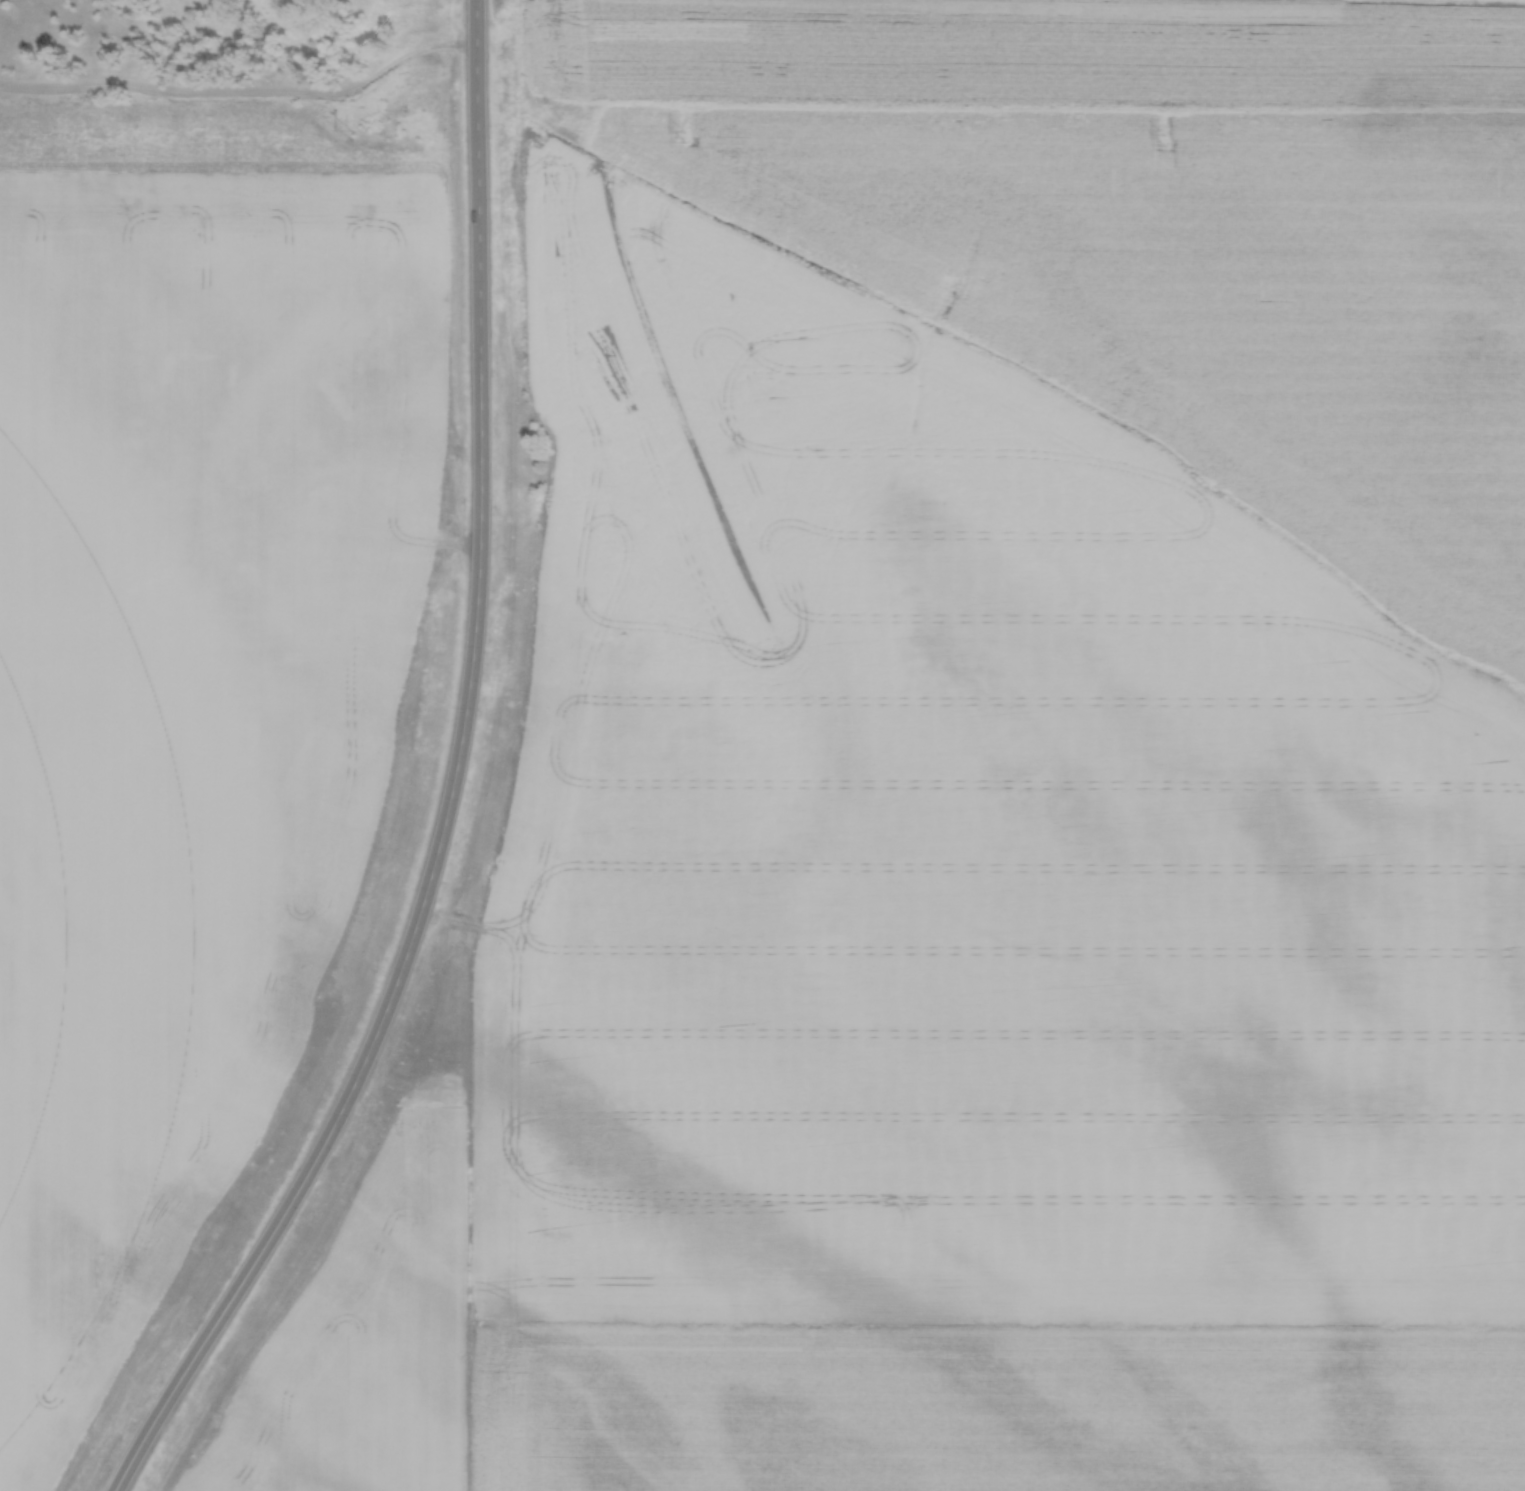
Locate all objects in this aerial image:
power tower: (353, 134)
power tower: (686, 135)
power tower: (1164, 138)
road: (458, 785)

